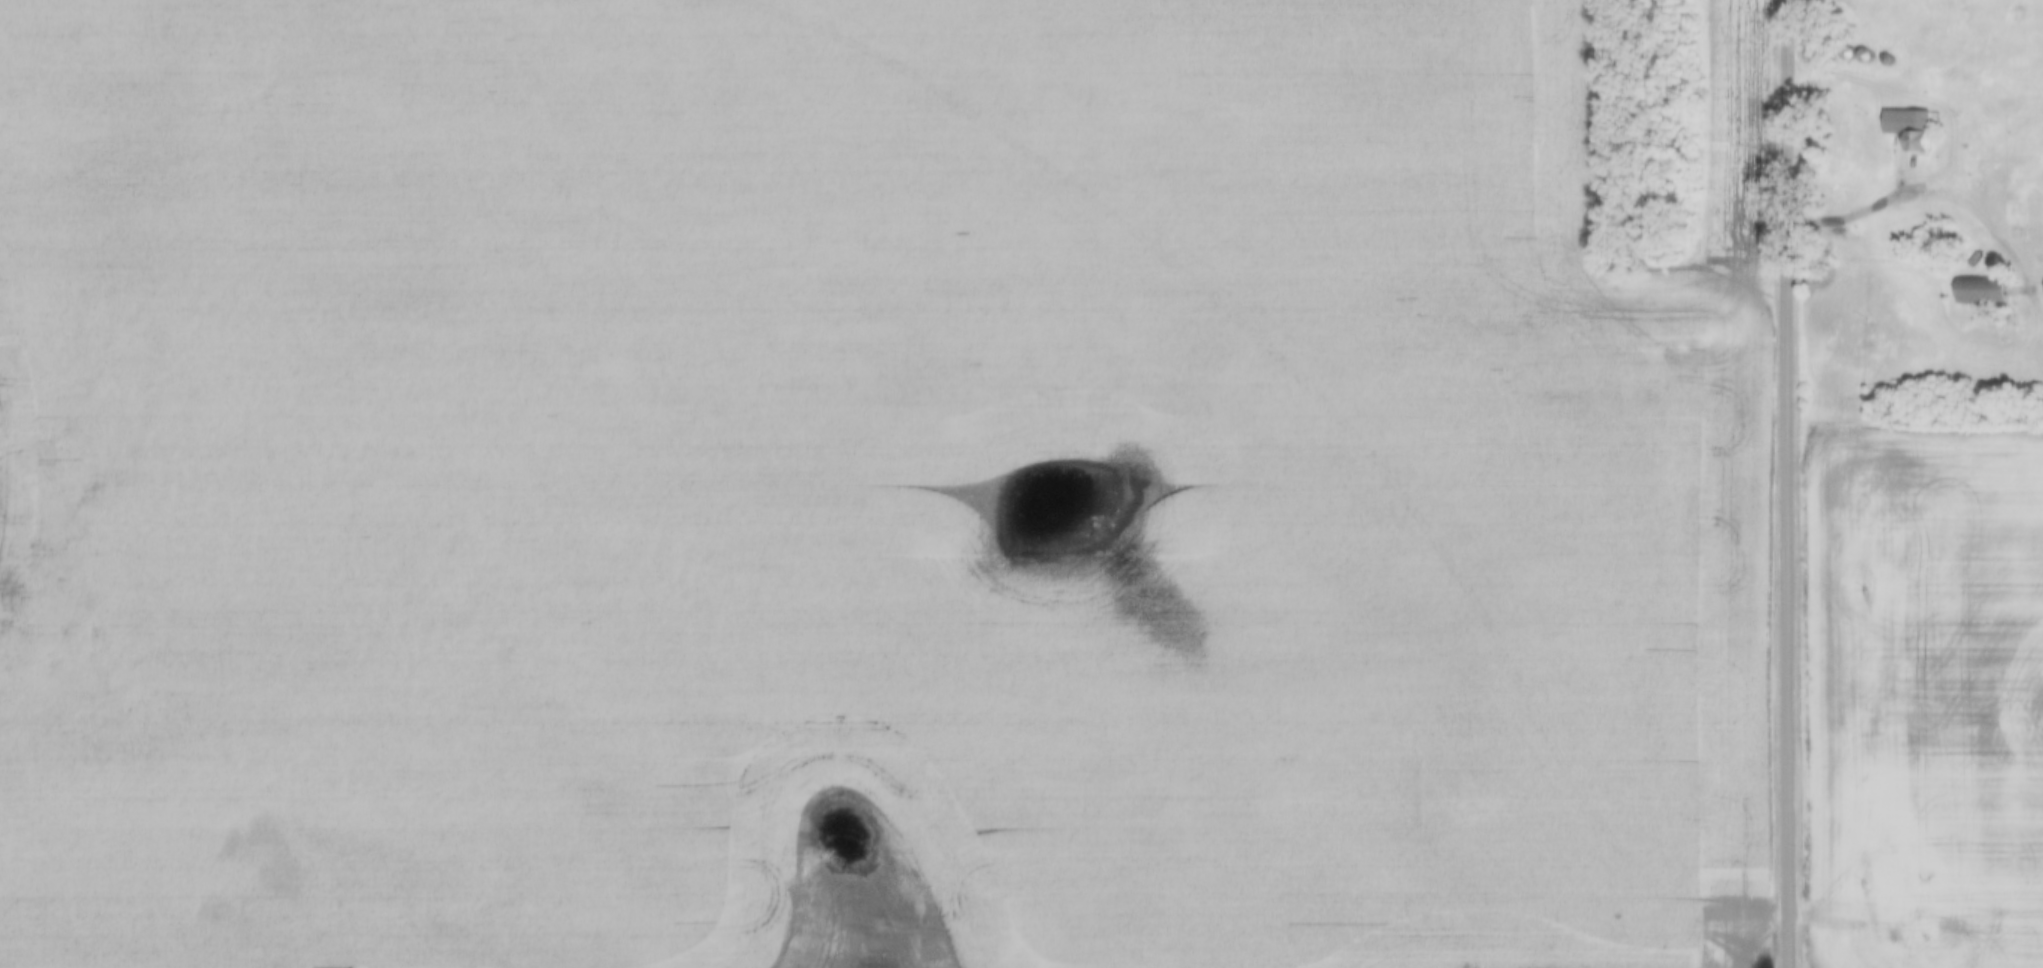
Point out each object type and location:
building: (1911, 129)
road: (1861, 205)
building: (2019, 211)
building: (1982, 292)
road: (1785, 484)

